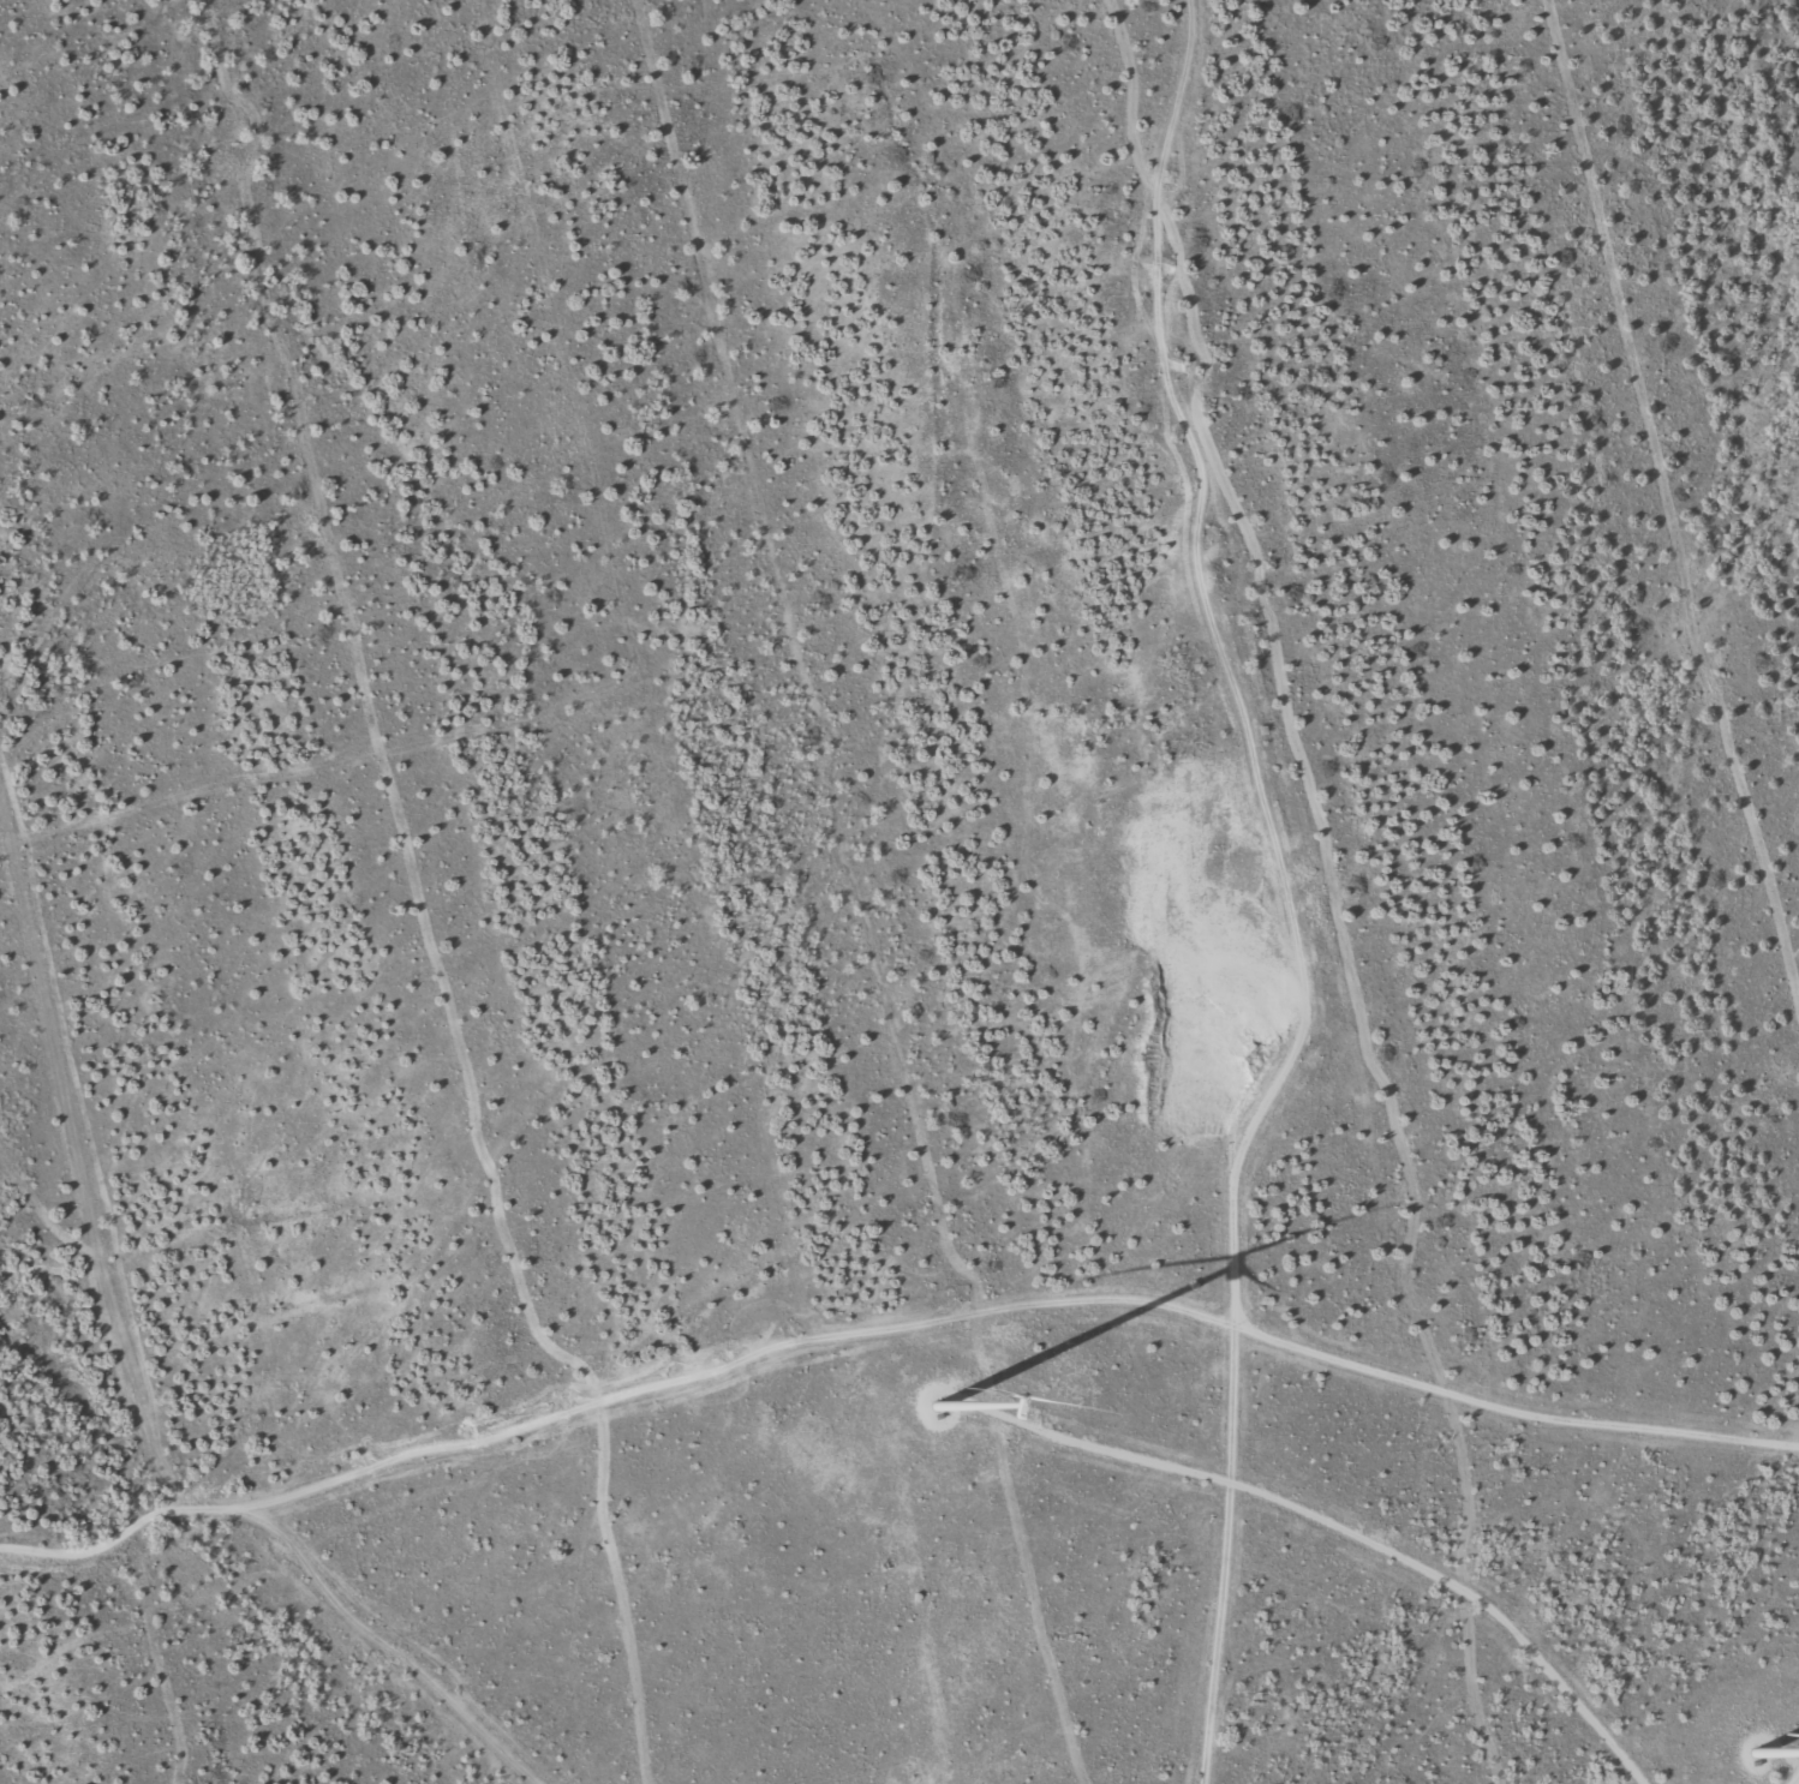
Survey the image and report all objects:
road: (875, 1323)
wind turbine: (958, 1409)
road: (1226, 1573)
road: (353, 1654)
wind turbine: (1747, 1762)
road: (1787, 1768)

